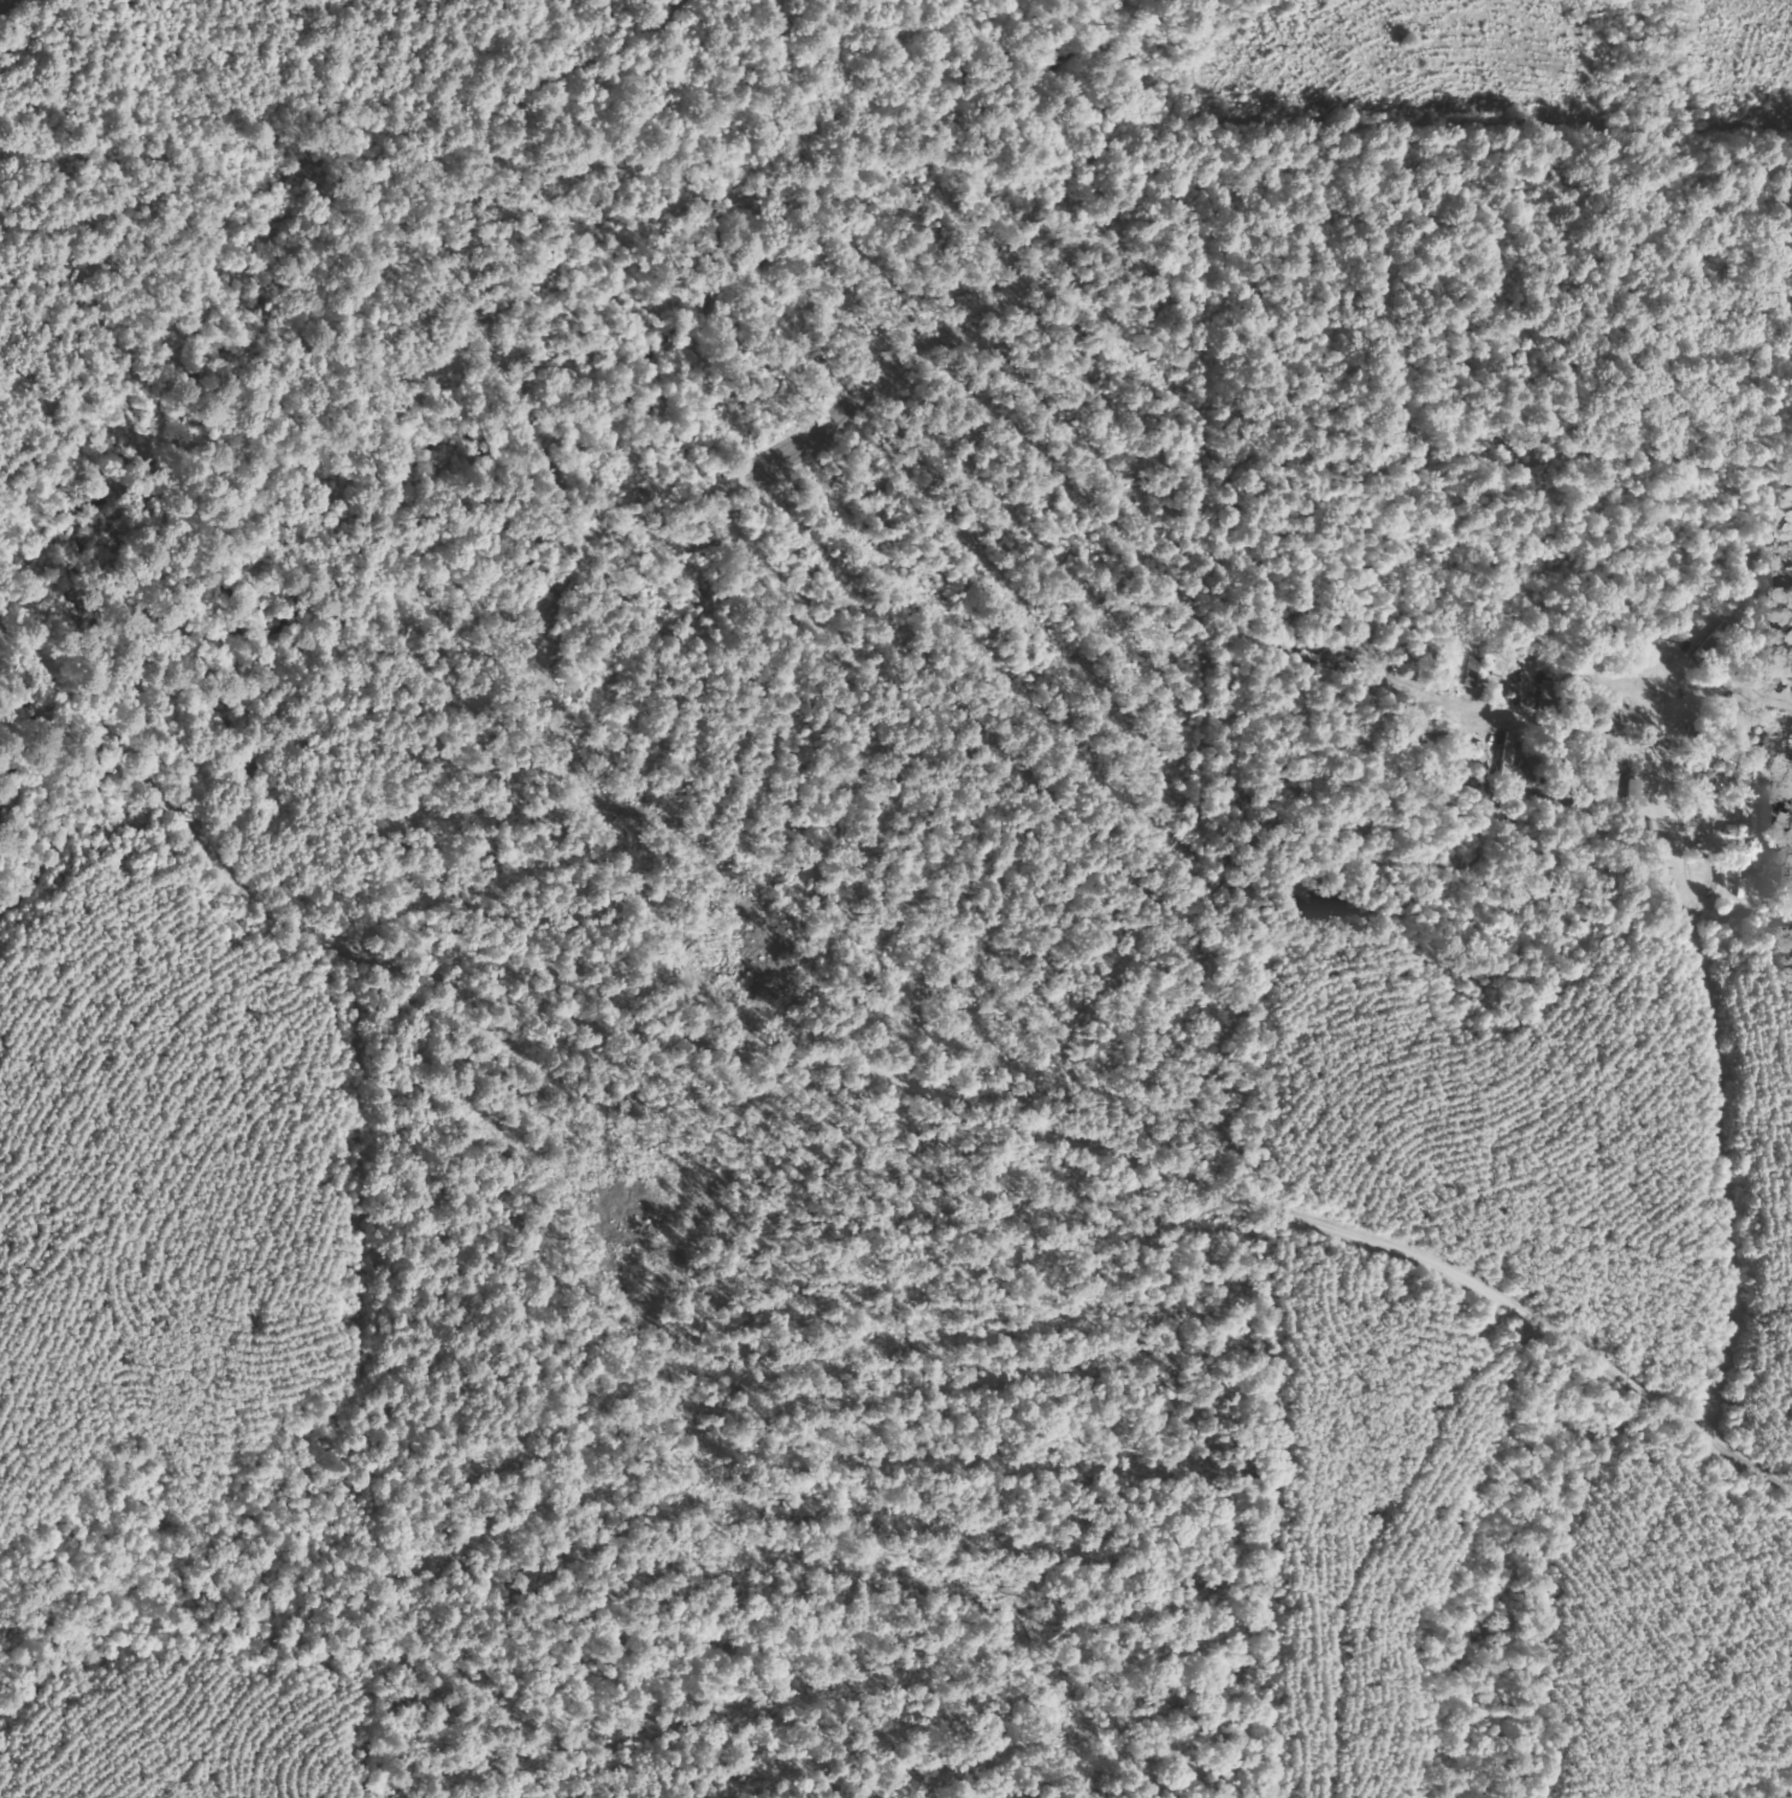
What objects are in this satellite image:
building: (1506, 666)
road: (1460, 674)
road: (1766, 684)
building: (1757, 817)
building: (1728, 877)
road: (853, 1074)
road: (1757, 1359)

